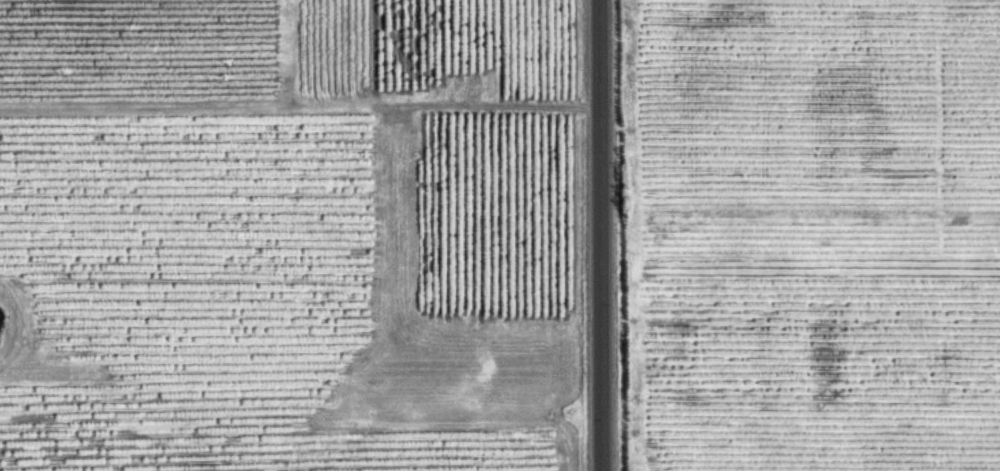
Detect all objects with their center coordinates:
road: (300, 102)
road: (601, 235)
road: (22, 322)

